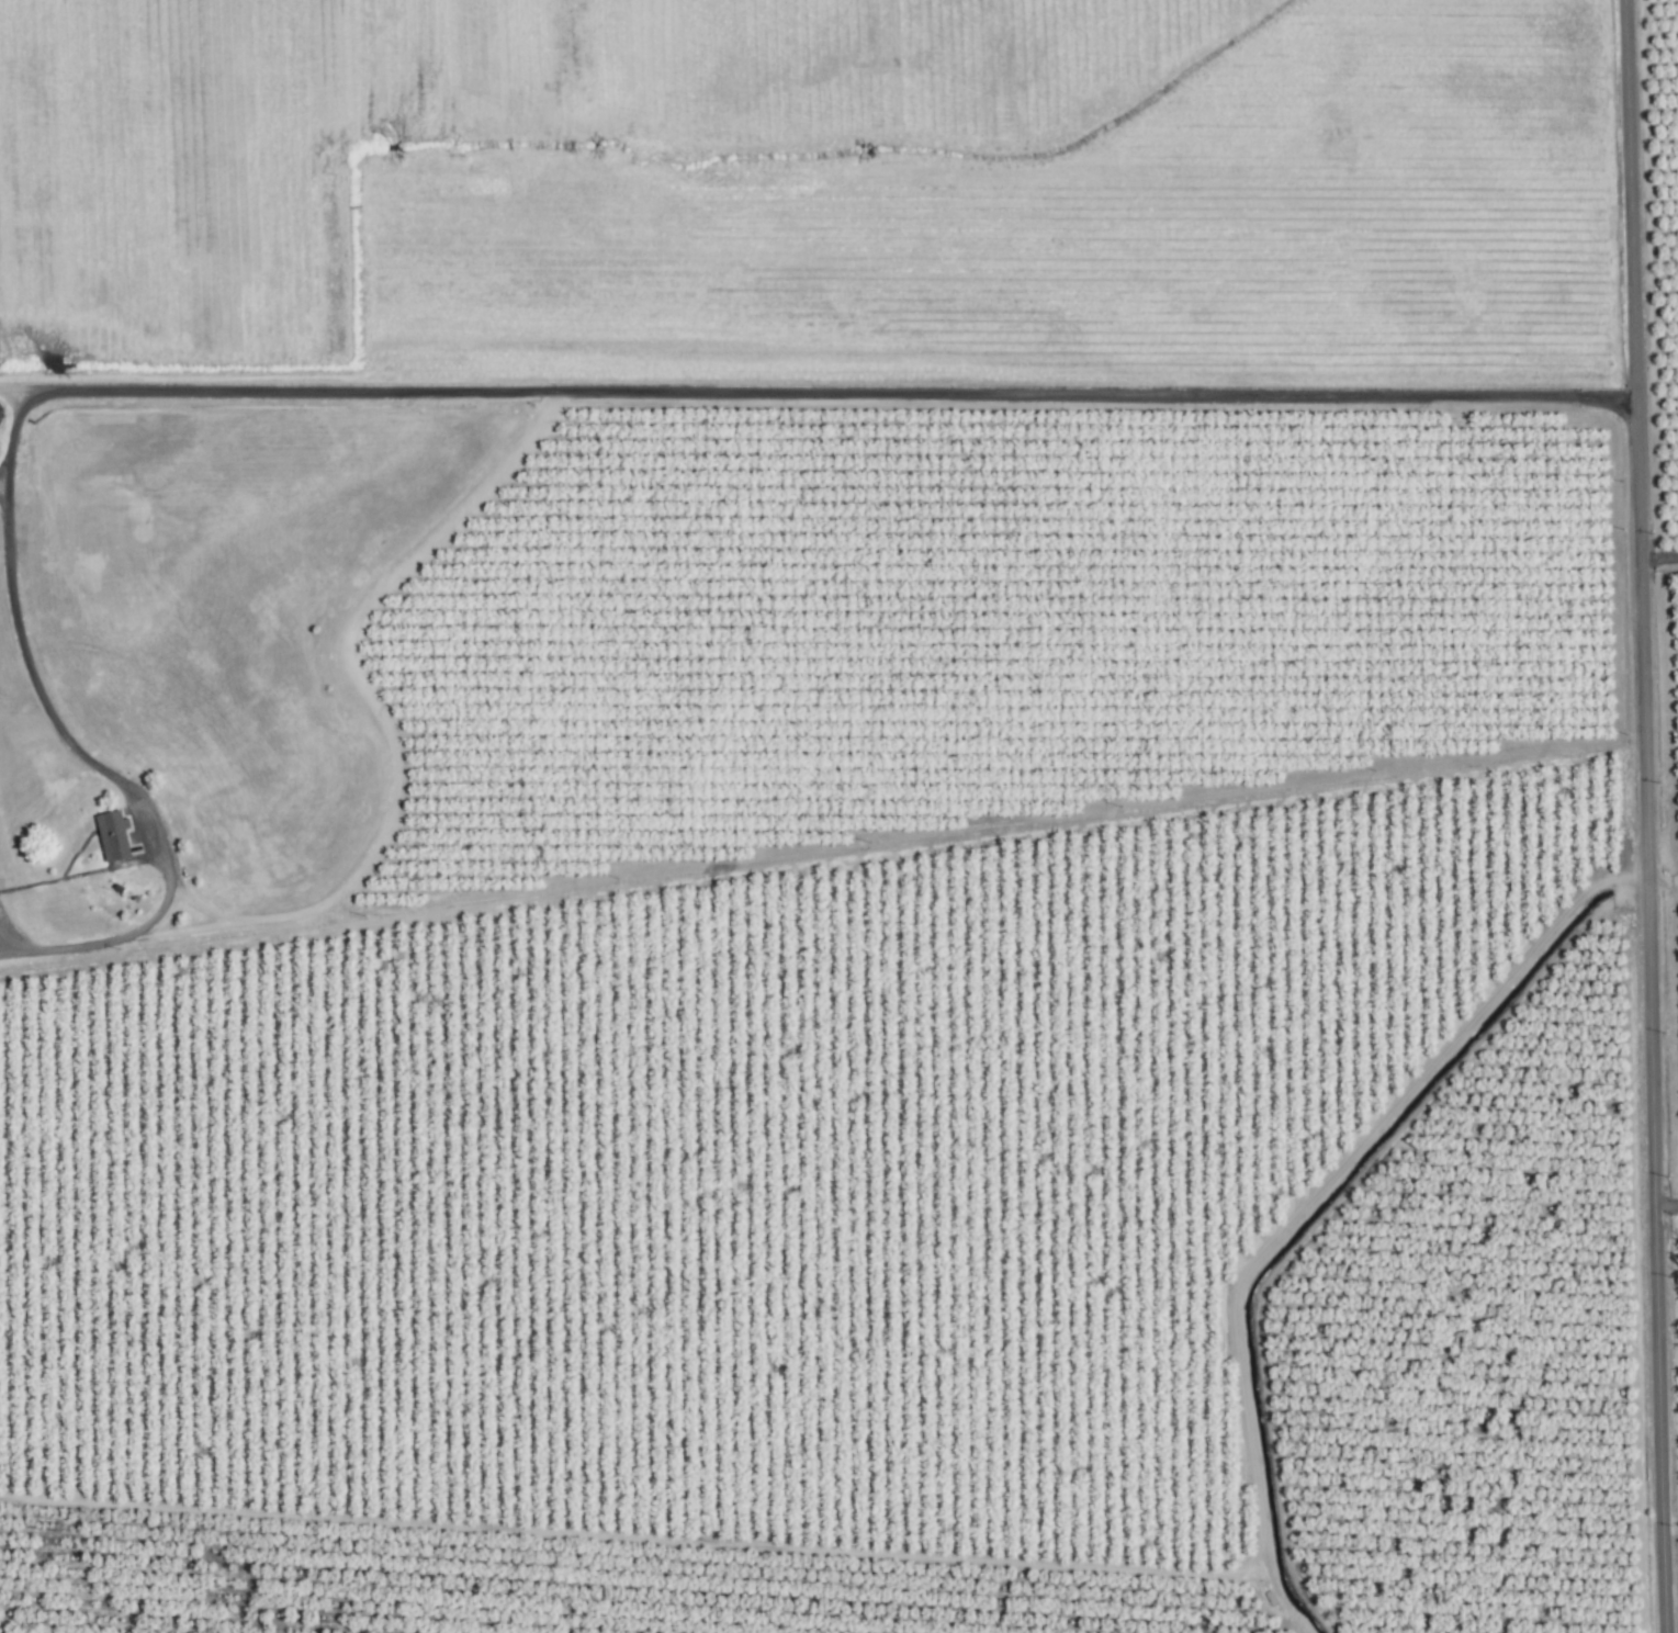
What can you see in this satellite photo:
road: (596, 390)
road: (3, 478)
road: (1656, 558)
road: (1640, 815)
crop: (892, 826)
building: (114, 836)
road: (134, 931)
road: (1662, 1202)

